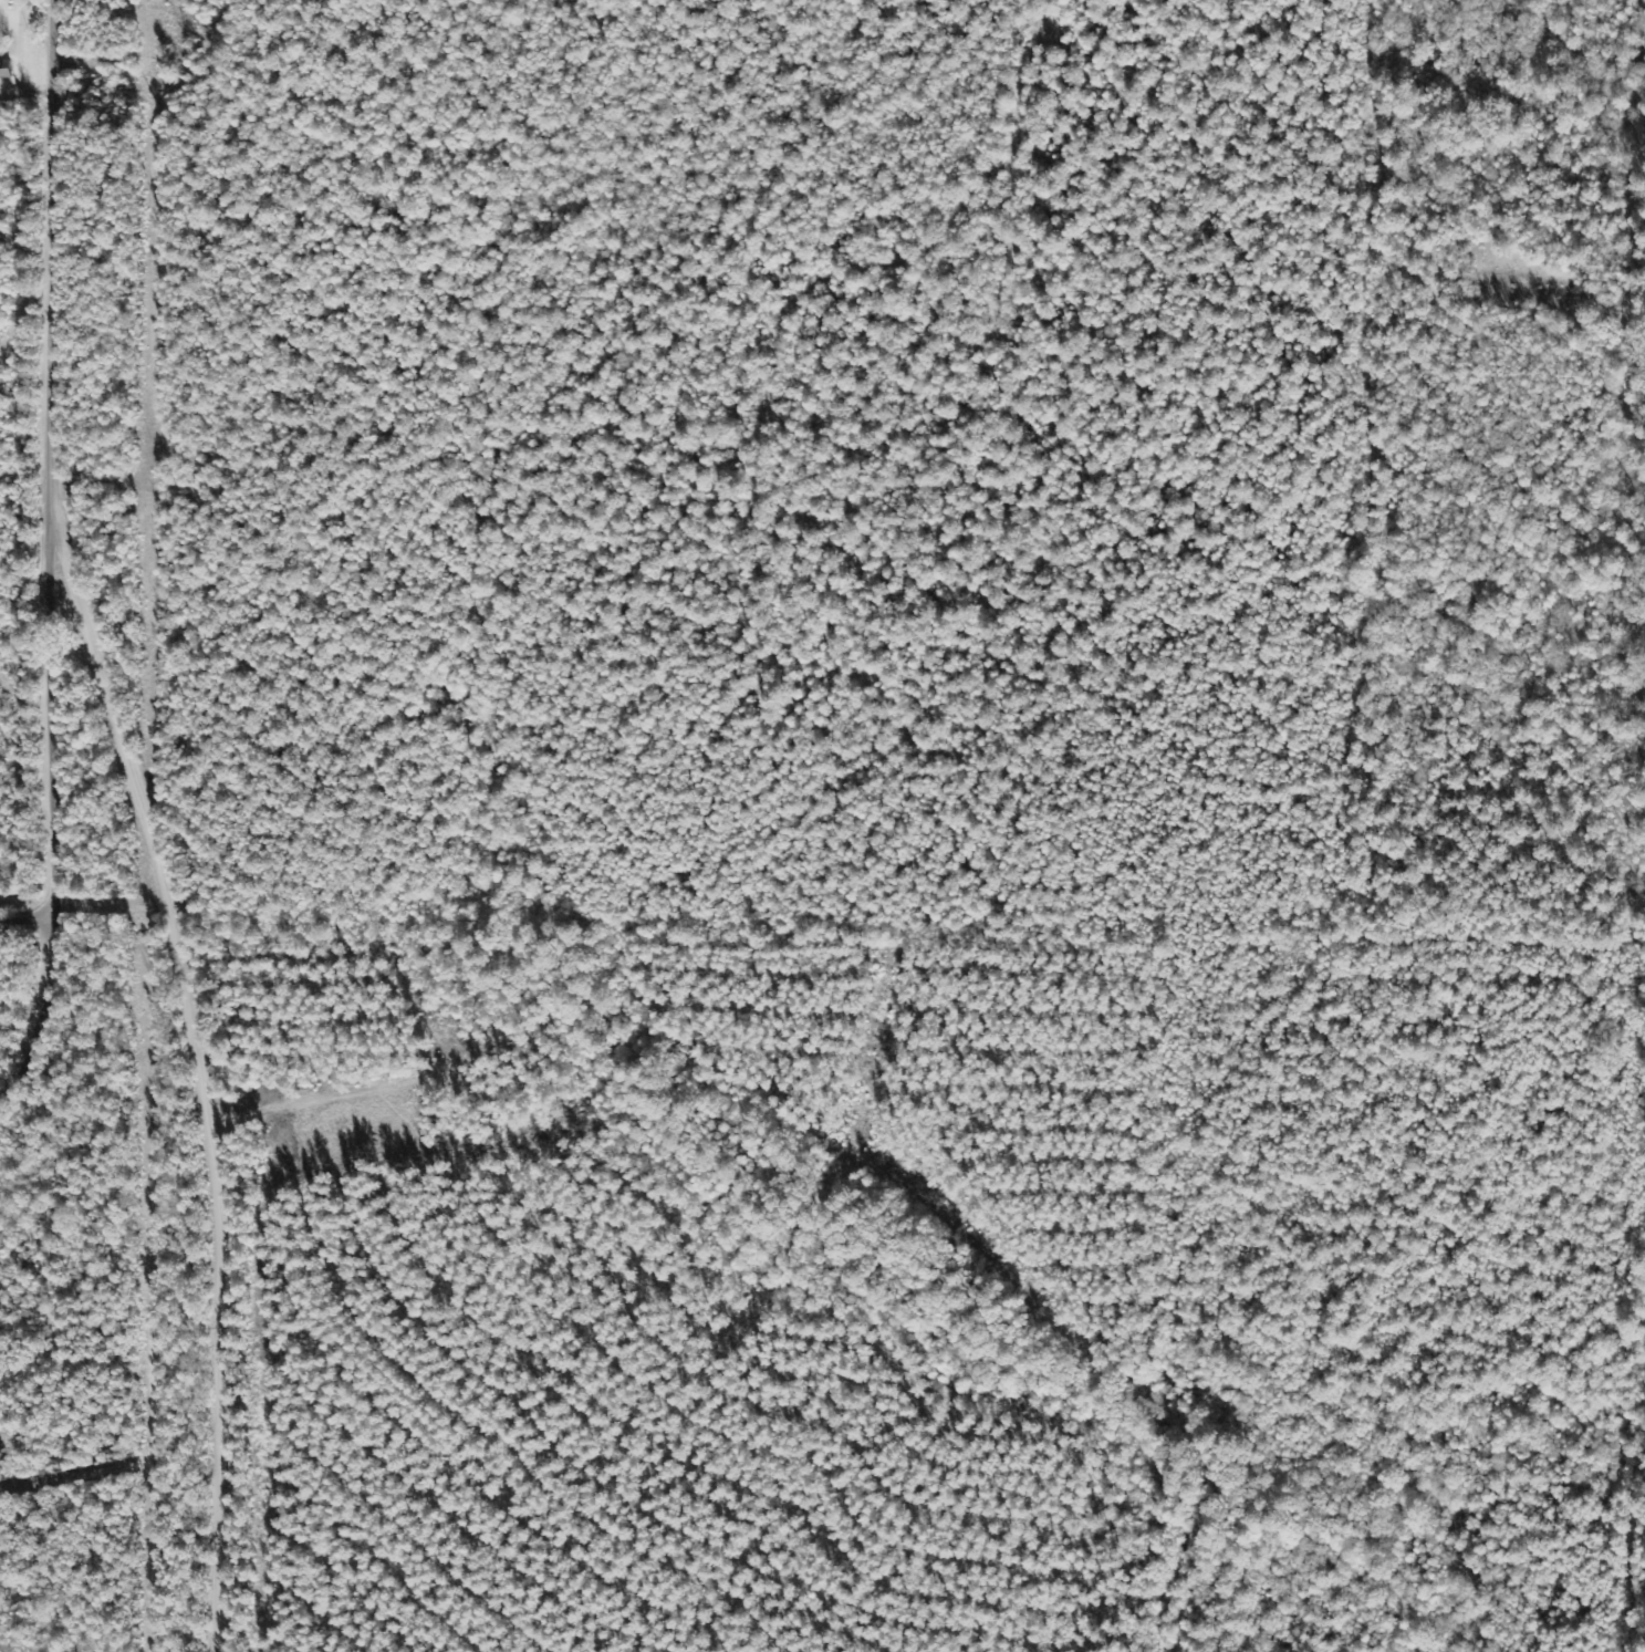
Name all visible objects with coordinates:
building: (6, 67)
road: (58, 561)
road: (31, 921)
road: (208, 1067)

